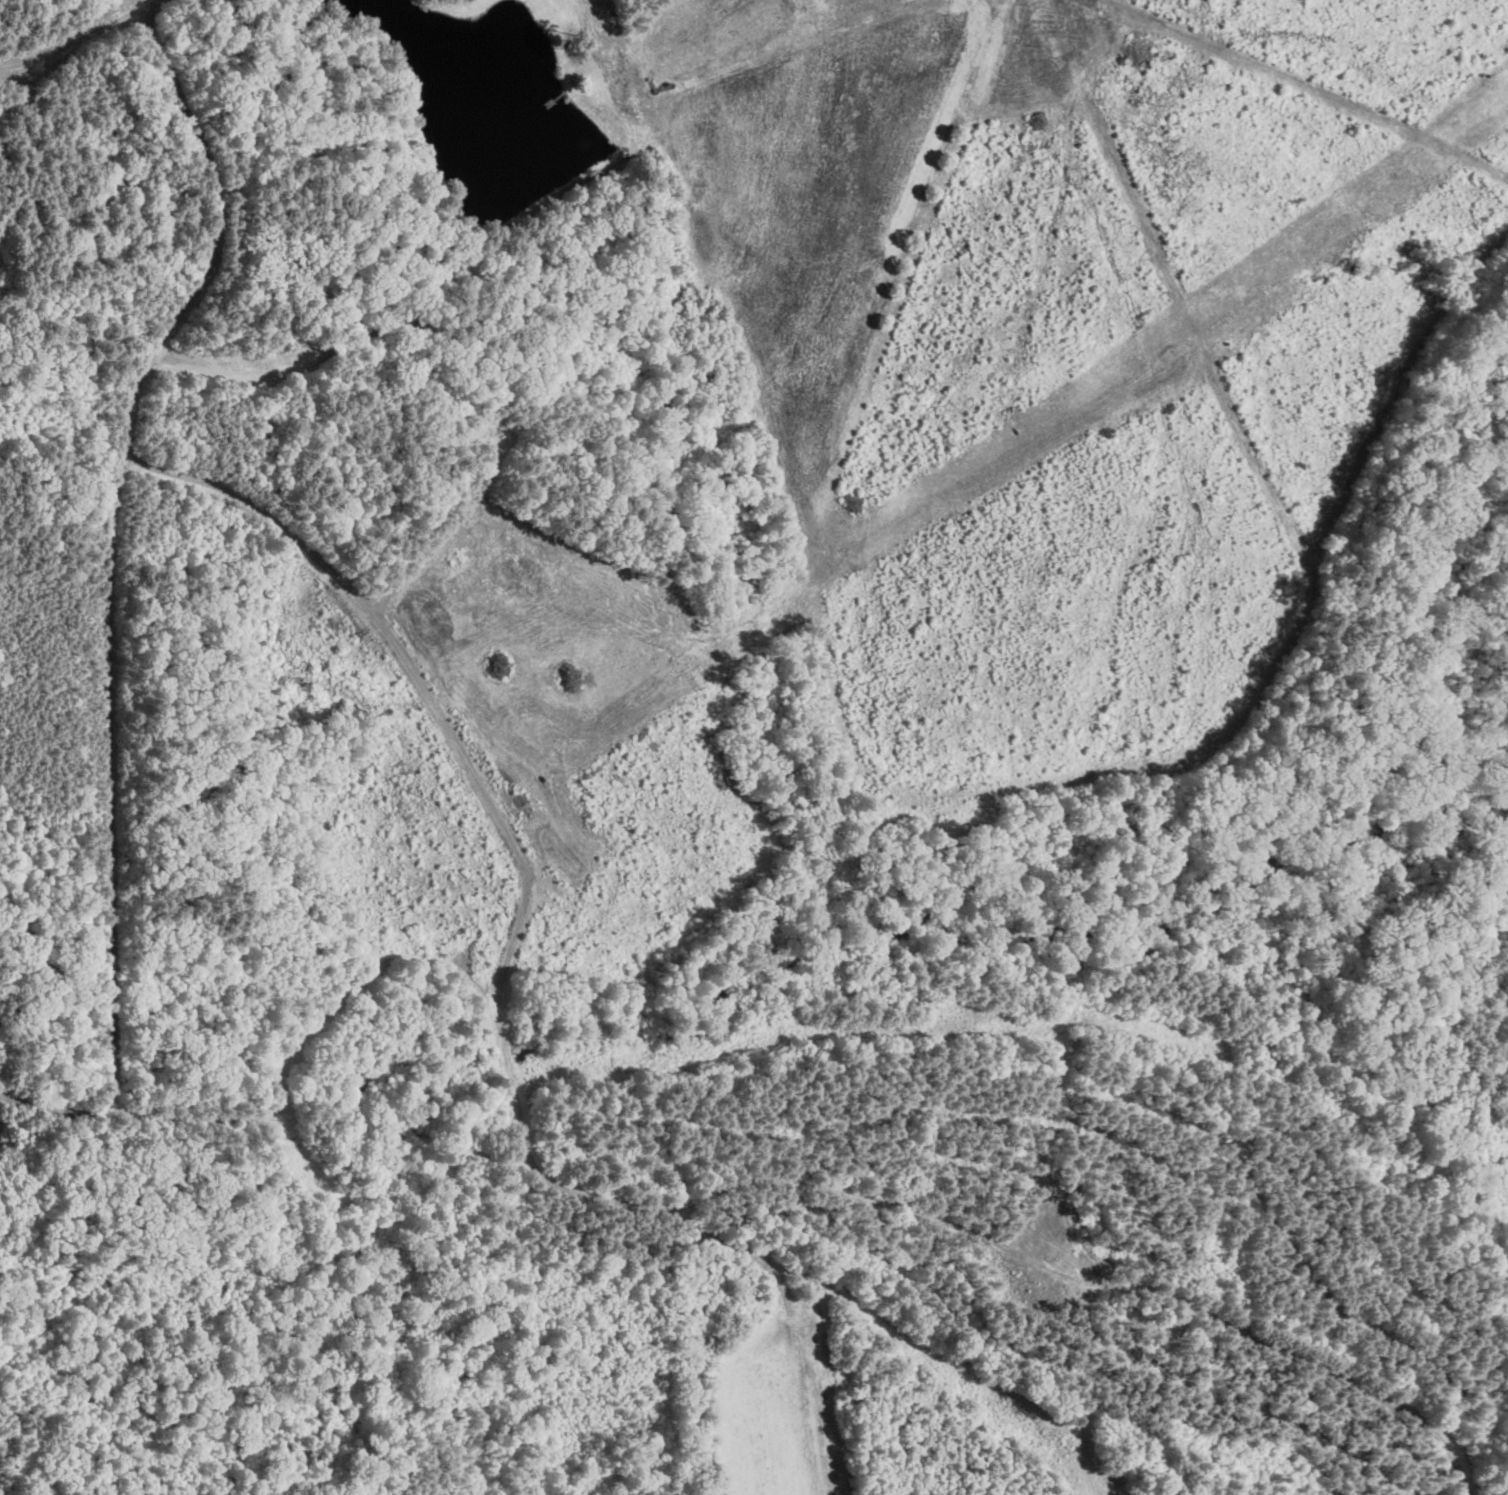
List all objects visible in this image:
road: (83, 39)
road: (110, 594)
road: (503, 967)

